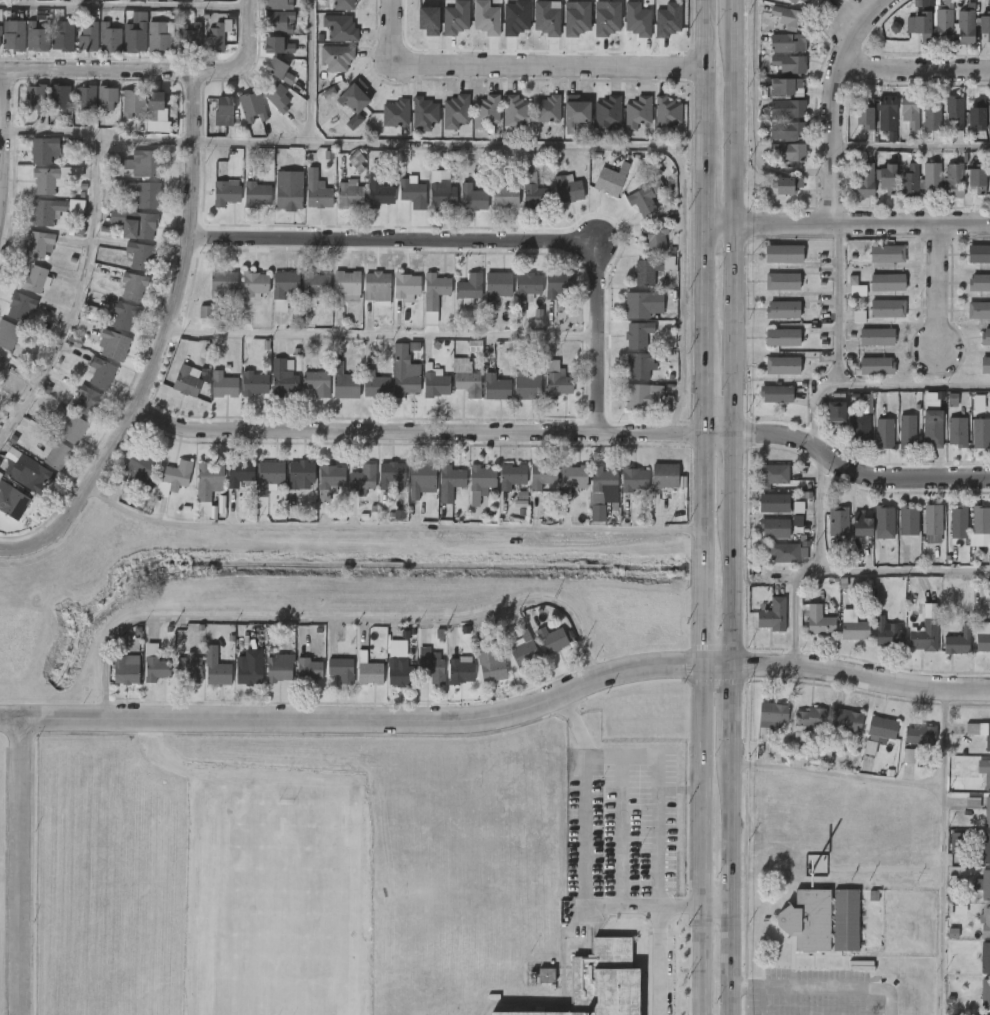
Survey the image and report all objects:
building: (153, 0)
building: (792, 1)
building: (805, 1)
building: (278, 4)
building: (344, 4)
road: (125, 6)
road: (740, 6)
building: (788, 16)
building: (456, 18)
building: (485, 18)
building: (515, 18)
building: (547, 18)
building: (576, 18)
building: (607, 19)
building: (637, 20)
building: (668, 20)
building: (276, 21)
building: (429, 21)
building: (985, 23)
building: (921, 24)
building: (955, 25)
building: (341, 27)
road: (392, 32)
building: (15, 35)
building: (158, 35)
building: (38, 36)
building: (134, 36)
building: (62, 37)
building: (88, 37)
building: (109, 37)
building: (190, 37)
building: (216, 39)
building: (788, 41)
building: (278, 44)
building: (0, 48)
building: (336, 57)
building: (789, 63)
road: (547, 68)
road: (920, 68)
building: (278, 69)
road: (309, 70)
road: (156, 71)
building: (787, 84)
building: (59, 96)
building: (35, 97)
building: (86, 97)
building: (353, 97)
building: (105, 98)
building: (276, 98)
road: (842, 102)
building: (132, 103)
building: (251, 107)
building: (225, 108)
building: (788, 108)
building: (547, 109)
building: (576, 110)
building: (455, 111)
building: (486, 111)
building: (514, 111)
building: (911, 111)
building: (158, 112)
building: (607, 112)
building: (637, 112)
building: (667, 112)
building: (954, 112)
building: (424, 113)
building: (866, 113)
building: (887, 113)
building: (932, 113)
building: (395, 114)
building: (979, 114)
building: (354, 122)
road: (757, 122)
road: (1, 129)
building: (787, 129)
road: (51, 132)
road: (1, 136)
road: (369, 141)
road: (915, 148)
building: (42, 149)
building: (789, 151)
building: (142, 163)
building: (978, 177)
building: (888, 178)
building: (932, 178)
building: (44, 179)
building: (954, 180)
building: (607, 181)
building: (910, 181)
building: (865, 182)
building: (784, 184)
building: (567, 188)
building: (377, 189)
building: (441, 190)
building: (287, 192)
building: (534, 192)
building: (144, 193)
building: (225, 193)
building: (256, 193)
building: (413, 193)
building: (503, 193)
building: (317, 194)
building: (348, 194)
building: (989, 194)
building: (472, 198)
building: (643, 198)
building: (46, 211)
road: (843, 219)
building: (136, 224)
road: (741, 226)
building: (653, 237)
road: (481, 241)
building: (41, 244)
building: (888, 253)
building: (785, 254)
building: (978, 254)
building: (139, 255)
building: (644, 272)
building: (35, 280)
building: (782, 281)
building: (889, 282)
building: (222, 283)
building: (284, 283)
building: (978, 283)
building: (556, 284)
building: (495, 285)
building: (136, 286)
building: (253, 286)
building: (314, 286)
building: (406, 286)
building: (468, 286)
building: (346, 287)
building: (855, 287)
road: (935, 287)
building: (377, 288)
building: (524, 288)
building: (435, 289)
road: (837, 302)
building: (639, 304)
building: (22, 307)
building: (888, 308)
building: (784, 310)
building: (977, 311)
building: (89, 312)
building: (205, 312)
building: (127, 316)
building: (858, 316)
building: (430, 318)
road: (697, 332)
building: (636, 333)
road: (380, 334)
building: (9, 335)
building: (783, 337)
building: (878, 337)
building: (984, 337)
road: (163, 344)
building: (116, 346)
building: (474, 347)
building: (4, 362)
building: (637, 364)
building: (984, 364)
building: (783, 365)
building: (876, 366)
building: (404, 371)
building: (101, 373)
building: (204, 375)
building: (282, 377)
building: (185, 380)
building: (557, 381)
building: (254, 382)
building: (317, 382)
building: (343, 382)
building: (435, 382)
building: (223, 384)
building: (468, 384)
building: (525, 384)
building: (375, 385)
road: (871, 385)
building: (496, 387)
building: (777, 393)
building: (640, 396)
building: (84, 397)
building: (934, 400)
building: (867, 404)
building: (837, 412)
building: (72, 425)
building: (861, 428)
building: (957, 429)
road: (433, 431)
building: (907, 431)
building: (884, 432)
building: (933, 432)
building: (981, 432)
building: (60, 453)
building: (140, 464)
building: (30, 471)
building: (238, 472)
building: (178, 473)
building: (299, 473)
building: (773, 473)
building: (390, 474)
building: (269, 475)
building: (512, 476)
building: (665, 476)
road: (738, 476)
building: (421, 477)
building: (541, 478)
building: (363, 479)
building: (634, 479)
building: (207, 480)
building: (572, 480)
building: (329, 481)
building: (450, 482)
road: (859, 482)
building: (479, 483)
building: (602, 484)
building: (14, 500)
building: (772, 502)
building: (932, 519)
building: (838, 520)
building: (906, 520)
building: (980, 520)
building: (957, 521)
building: (884, 522)
building: (859, 523)
road: (386, 526)
building: (773, 527)
building: (783, 552)
road: (811, 569)
road: (902, 571)
road: (738, 591)
building: (770, 613)
road: (334, 619)
building: (819, 621)
building: (853, 629)
building: (885, 634)
building: (923, 635)
building: (981, 636)
building: (550, 639)
building: (957, 641)
building: (522, 650)
building: (431, 664)
building: (154, 665)
building: (215, 667)
road: (718, 667)
building: (278, 668)
building: (399, 668)
building: (492, 668)
building: (123, 669)
building: (187, 669)
building: (309, 669)
building: (342, 669)
building: (369, 670)
building: (460, 670)
building: (248, 673)
road: (865, 679)
building: (773, 714)
building: (810, 718)
road: (353, 719)
building: (847, 721)
building: (879, 733)
building: (980, 733)
building: (922, 735)
building: (909, 756)
building: (985, 771)
road: (839, 775)
road: (697, 785)
road: (738, 787)
road: (655, 797)
road: (585, 799)
building: (979, 807)
building: (959, 842)
building: (985, 847)
road: (941, 850)
road: (20, 867)
building: (983, 885)
road: (717, 906)
road: (642, 907)
building: (824, 919)
building: (985, 922)
building: (984, 958)
road: (696, 960)
road: (737, 960)
road: (659, 961)
building: (546, 976)
building: (602, 981)
road: (824, 987)
building: (984, 995)
road: (763, 1000)

